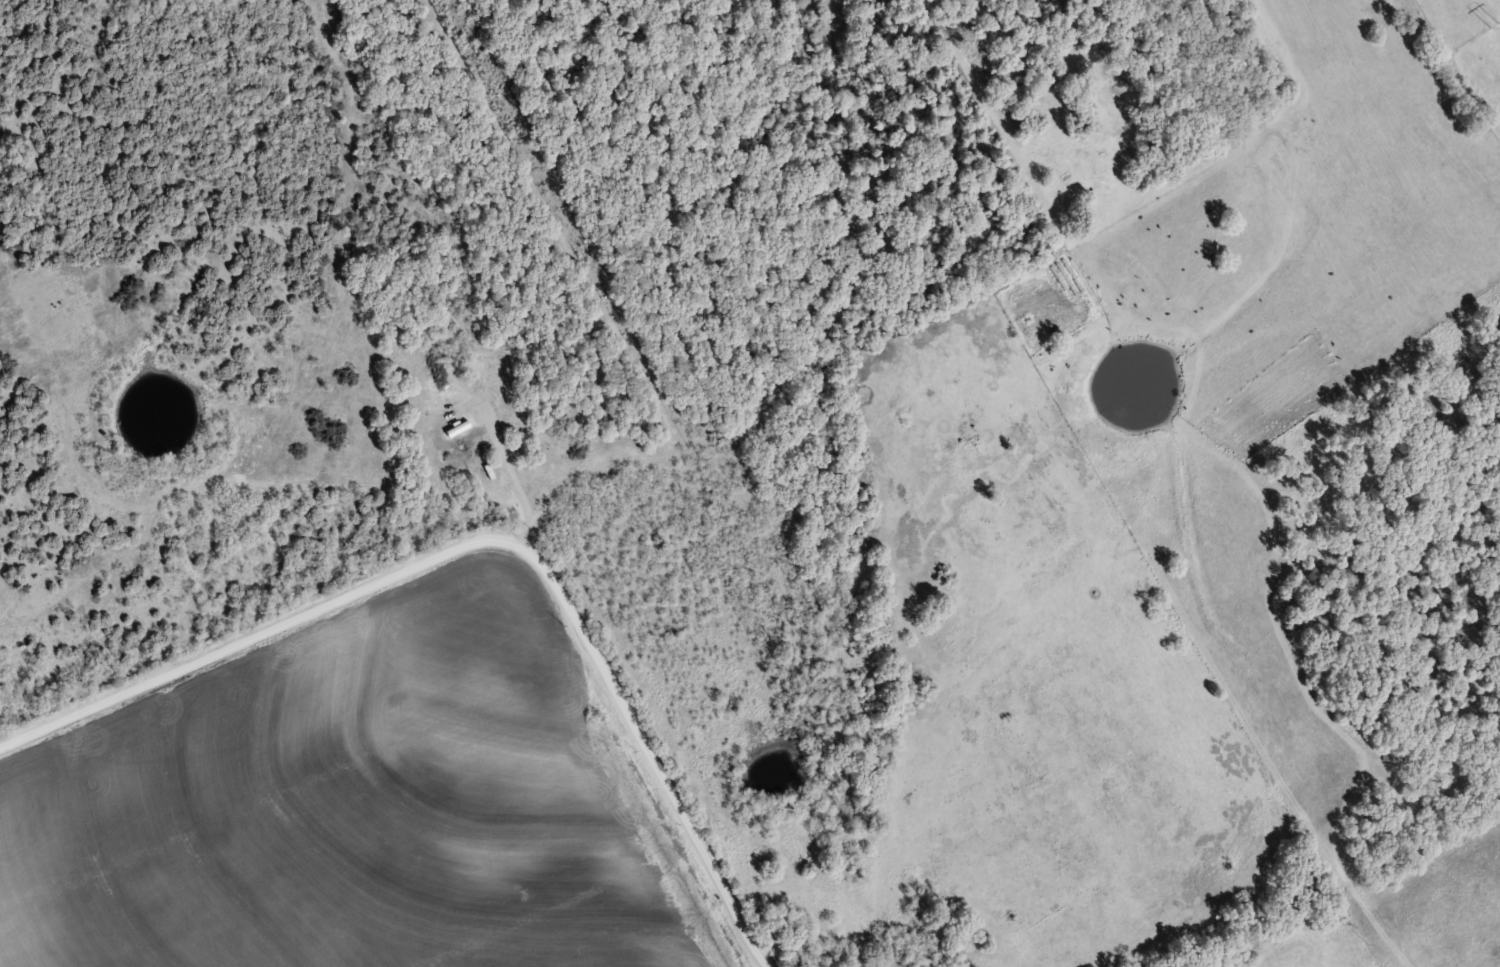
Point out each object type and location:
power tower: (1494, 24)
road: (485, 536)

